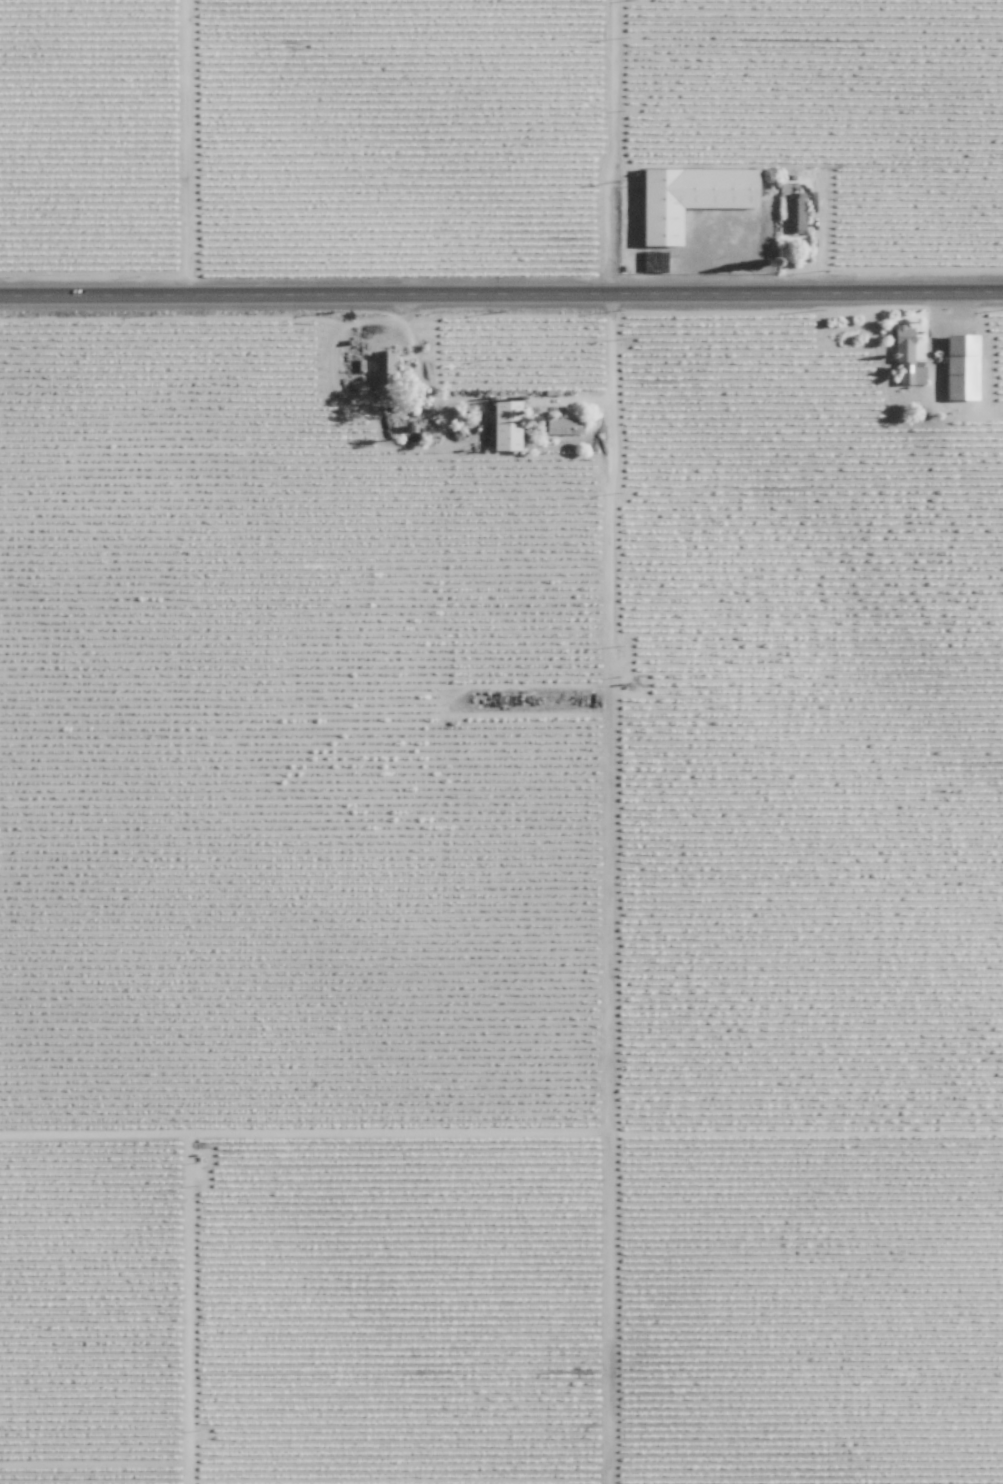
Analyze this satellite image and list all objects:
road: (187, 152)
road: (612, 152)
building: (692, 198)
building: (795, 213)
road: (501, 305)
building: (905, 334)
building: (387, 362)
building: (965, 367)
road: (307, 1145)

